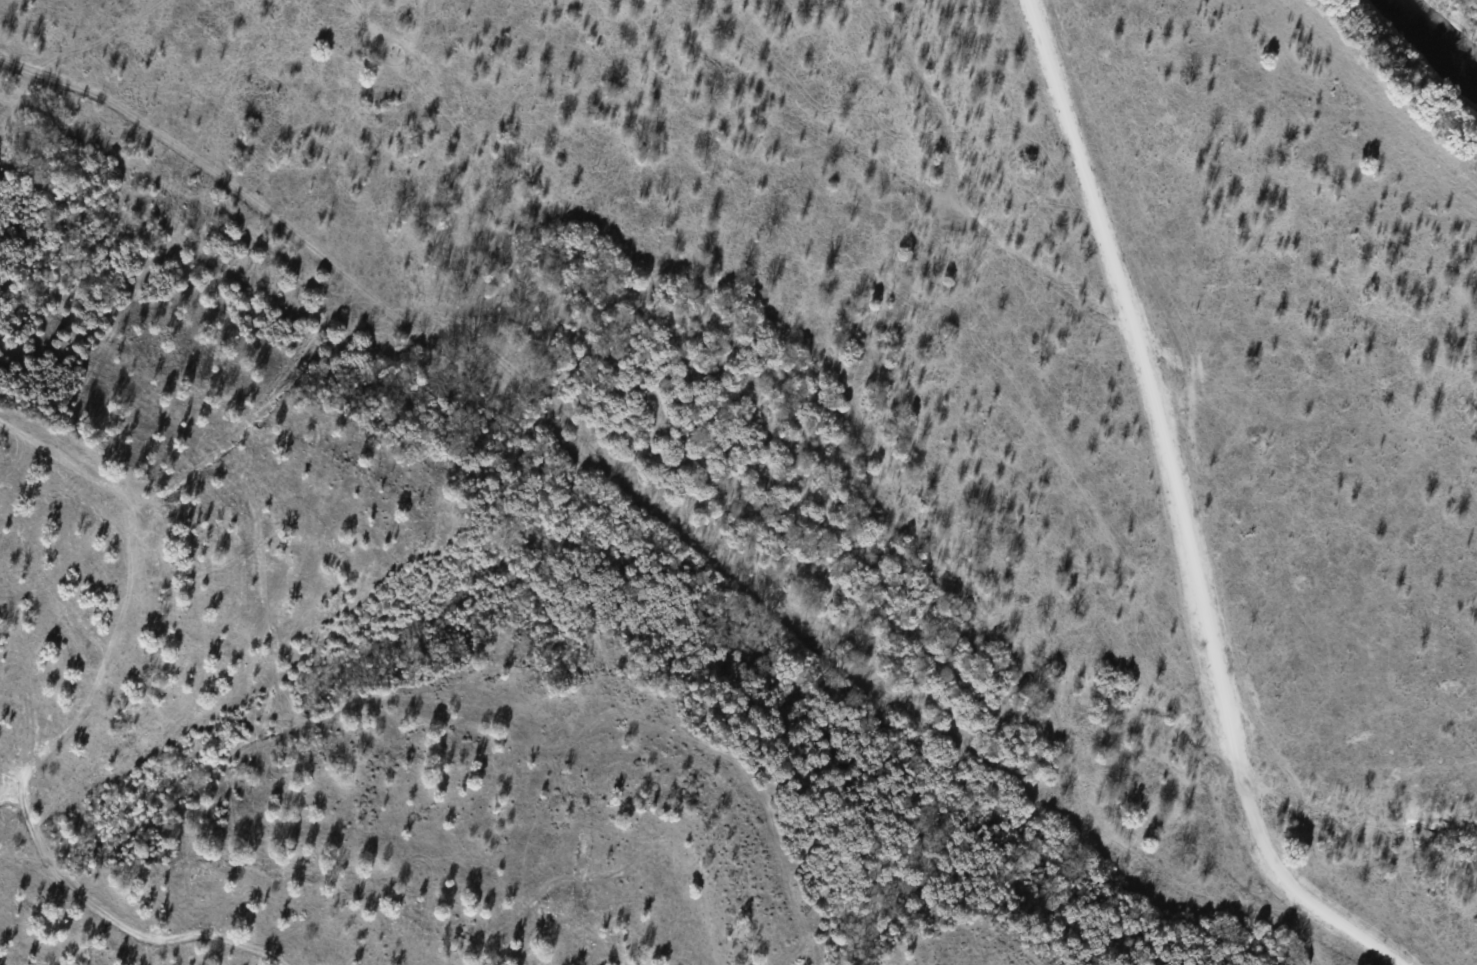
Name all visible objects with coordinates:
river: (1432, 43)
road: (1184, 509)

